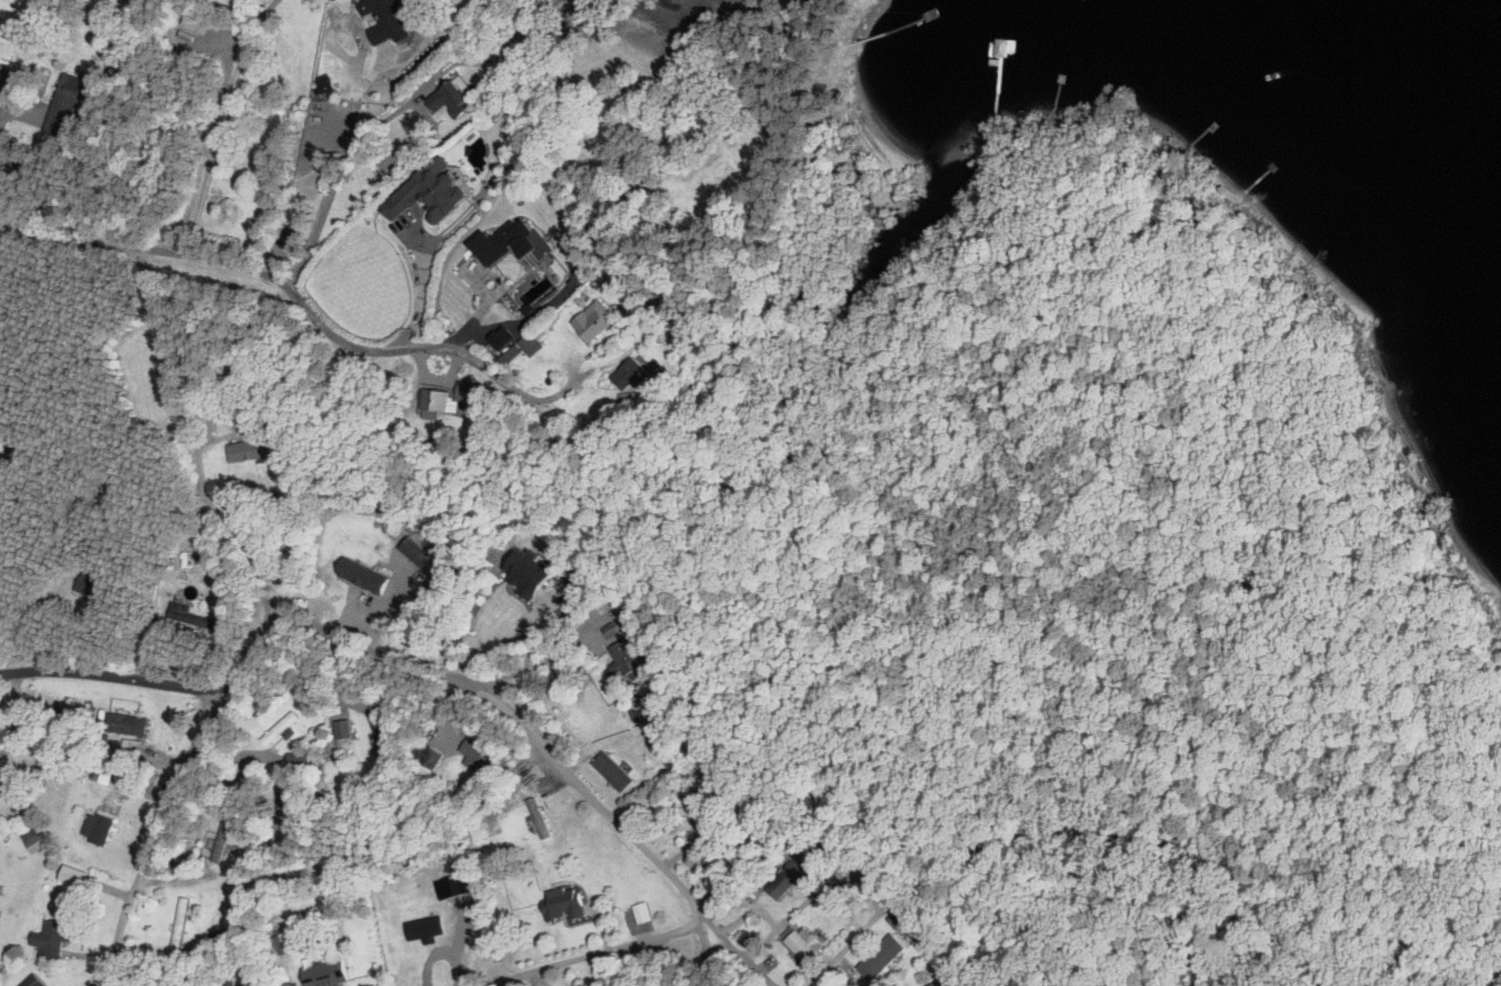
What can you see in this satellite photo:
building: (381, 19)
building: (194, 23)
road: (362, 46)
road: (6, 99)
building: (447, 99)
building: (67, 102)
road: (223, 124)
road: (213, 128)
road: (410, 149)
road: (340, 163)
building: (511, 243)
road: (588, 244)
road: (419, 288)
road: (299, 291)
building: (593, 319)
building: (630, 374)
building: (443, 398)
road: (210, 442)
building: (247, 449)
building: (524, 573)
building: (187, 616)
building: (620, 661)
road: (538, 666)
road: (158, 681)
road: (16, 719)
building: (121, 723)
building: (278, 729)
building: (341, 729)
building: (384, 733)
building: (130, 747)
building: (477, 752)
building: (424, 754)
road: (557, 758)
building: (296, 761)
building: (611, 771)
building: (101, 772)
building: (537, 818)
building: (96, 827)
building: (477, 827)
road: (157, 834)
building: (225, 836)
building: (32, 840)
building: (71, 875)
building: (786, 879)
road: (862, 880)
building: (561, 902)
road: (751, 912)
building: (179, 921)
building: (50, 940)
building: (282, 942)
building: (800, 946)
road: (706, 952)
road: (589, 955)
building: (880, 956)
building: (317, 972)
building: (947, 982)
building: (853, 983)

